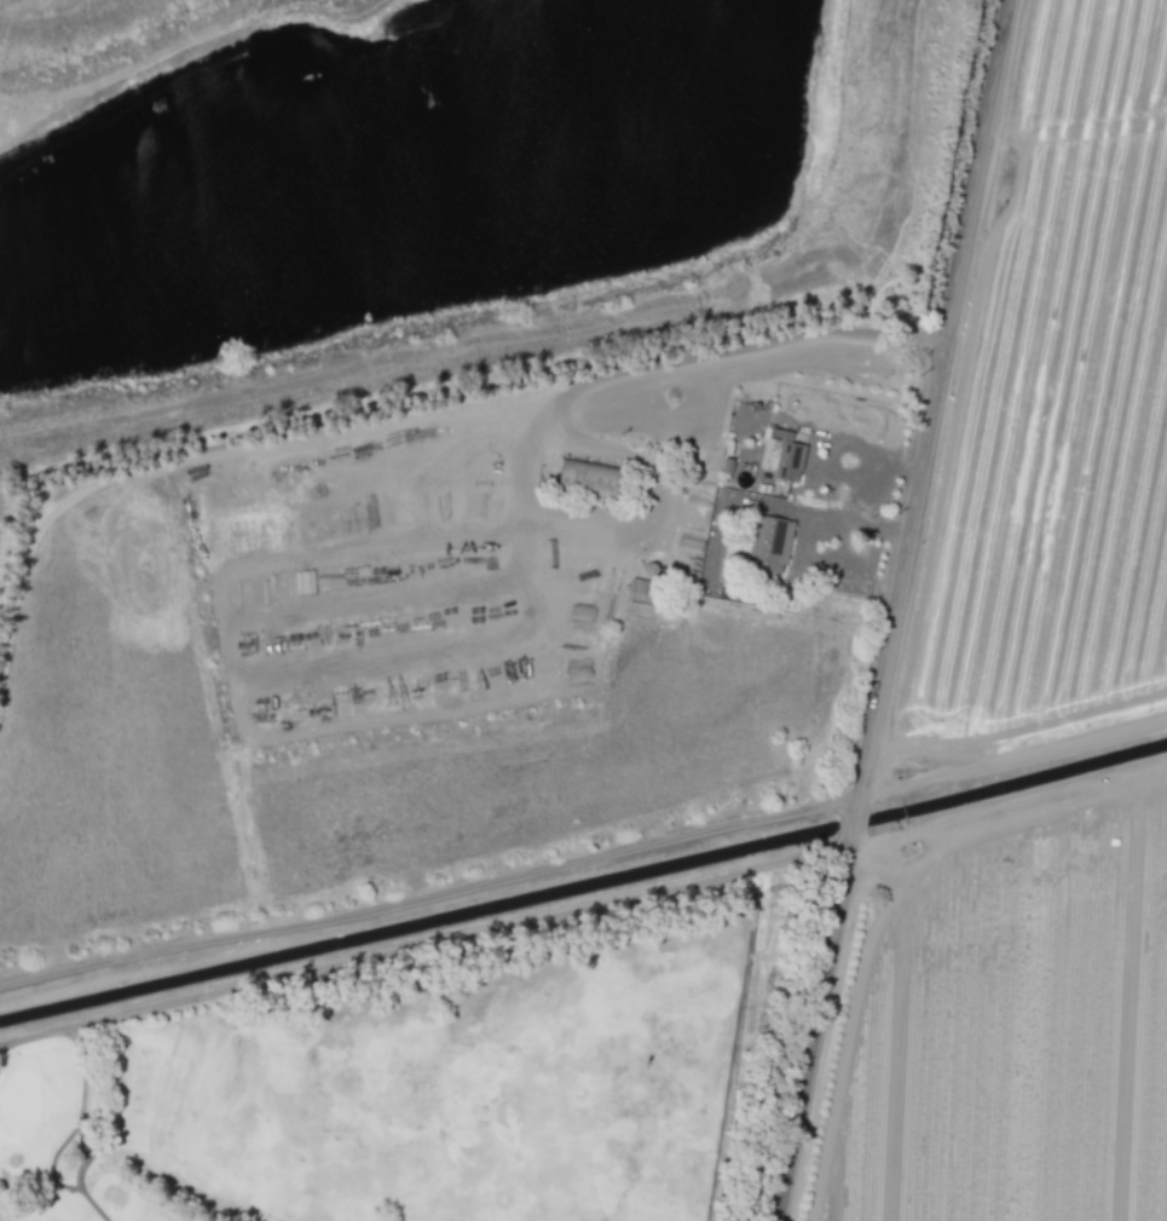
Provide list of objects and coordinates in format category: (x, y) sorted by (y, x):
road: (931, 403)
road: (555, 410)
building: (784, 456)
building: (579, 476)
road: (867, 485)
road: (821, 509)
building: (767, 545)
road: (803, 551)
road: (838, 571)
road: (851, 830)
road: (423, 952)
road: (810, 1038)
park: (405, 1093)

